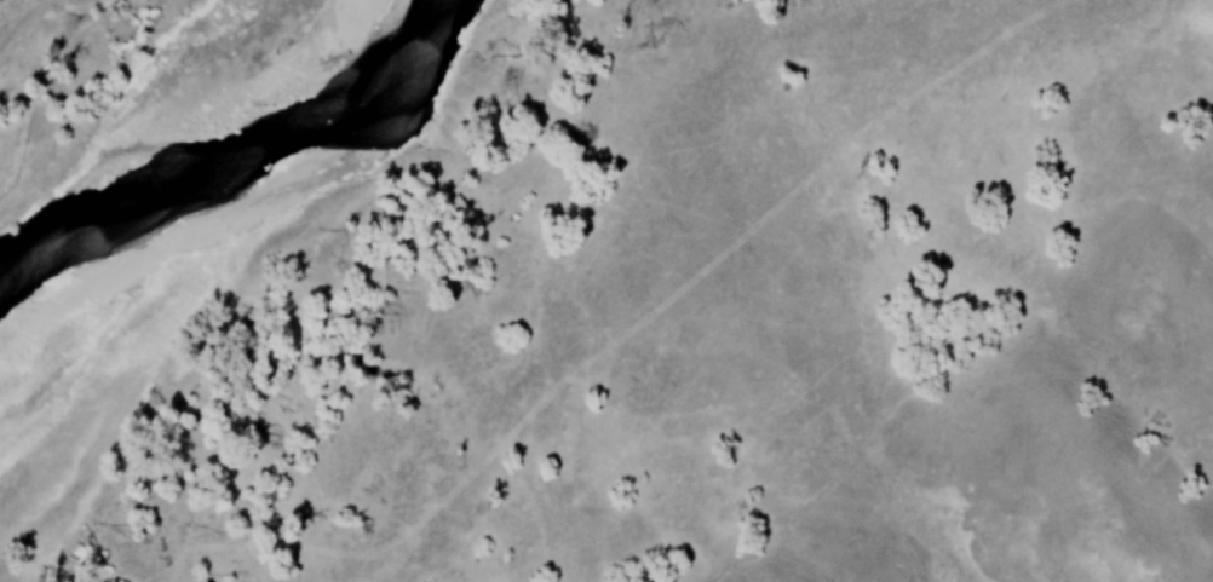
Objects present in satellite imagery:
river: (226, 161)

